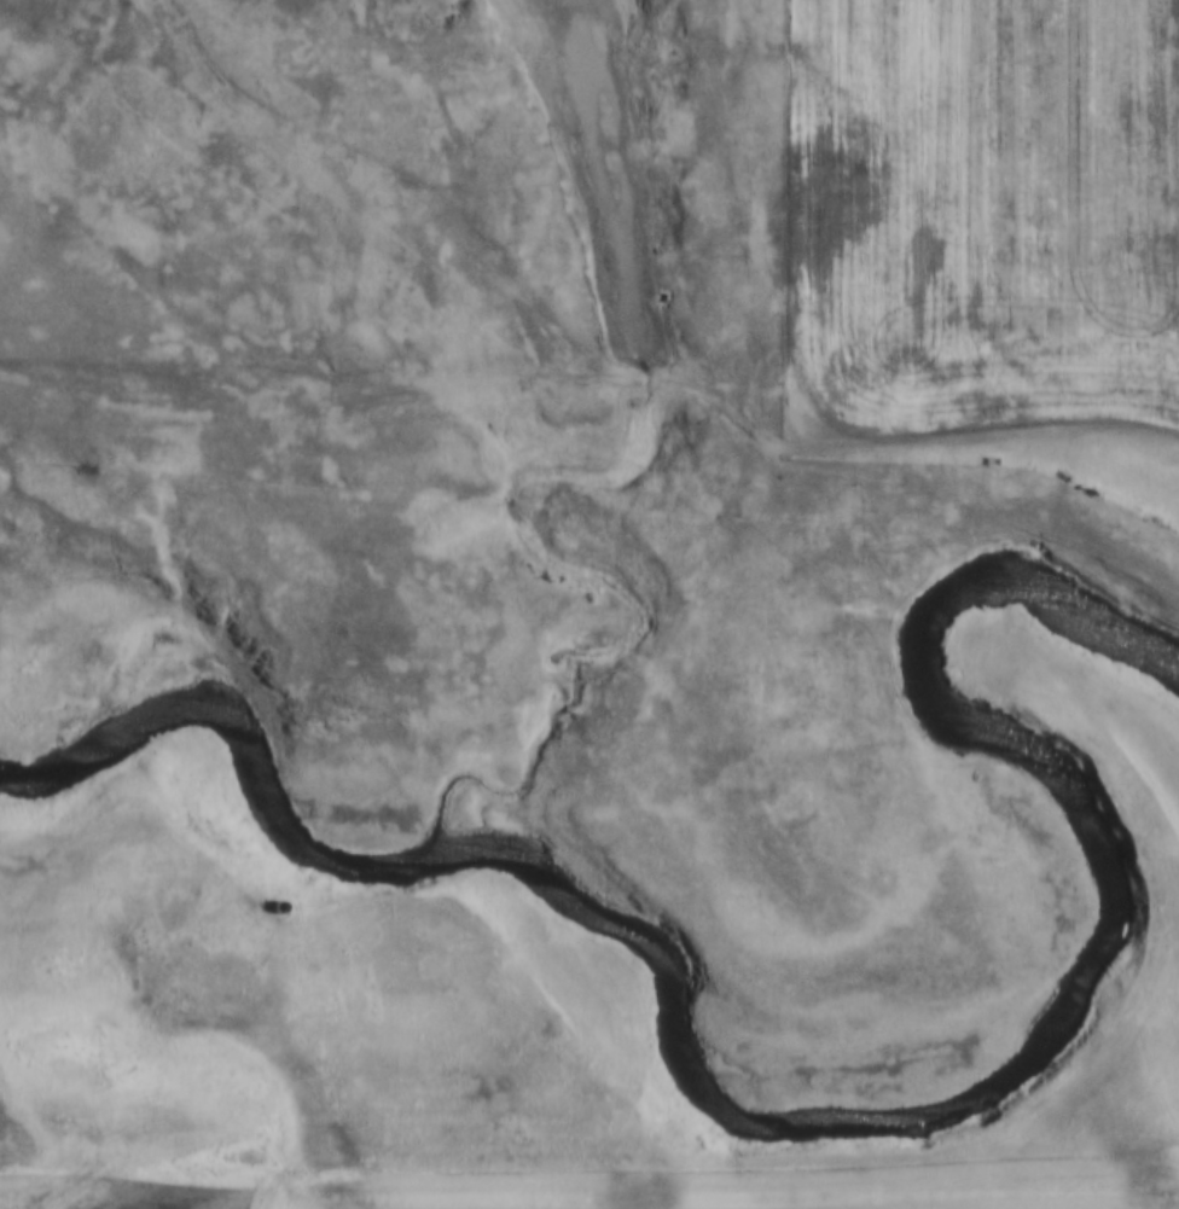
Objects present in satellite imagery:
road: (161, 10)
road: (605, 371)

